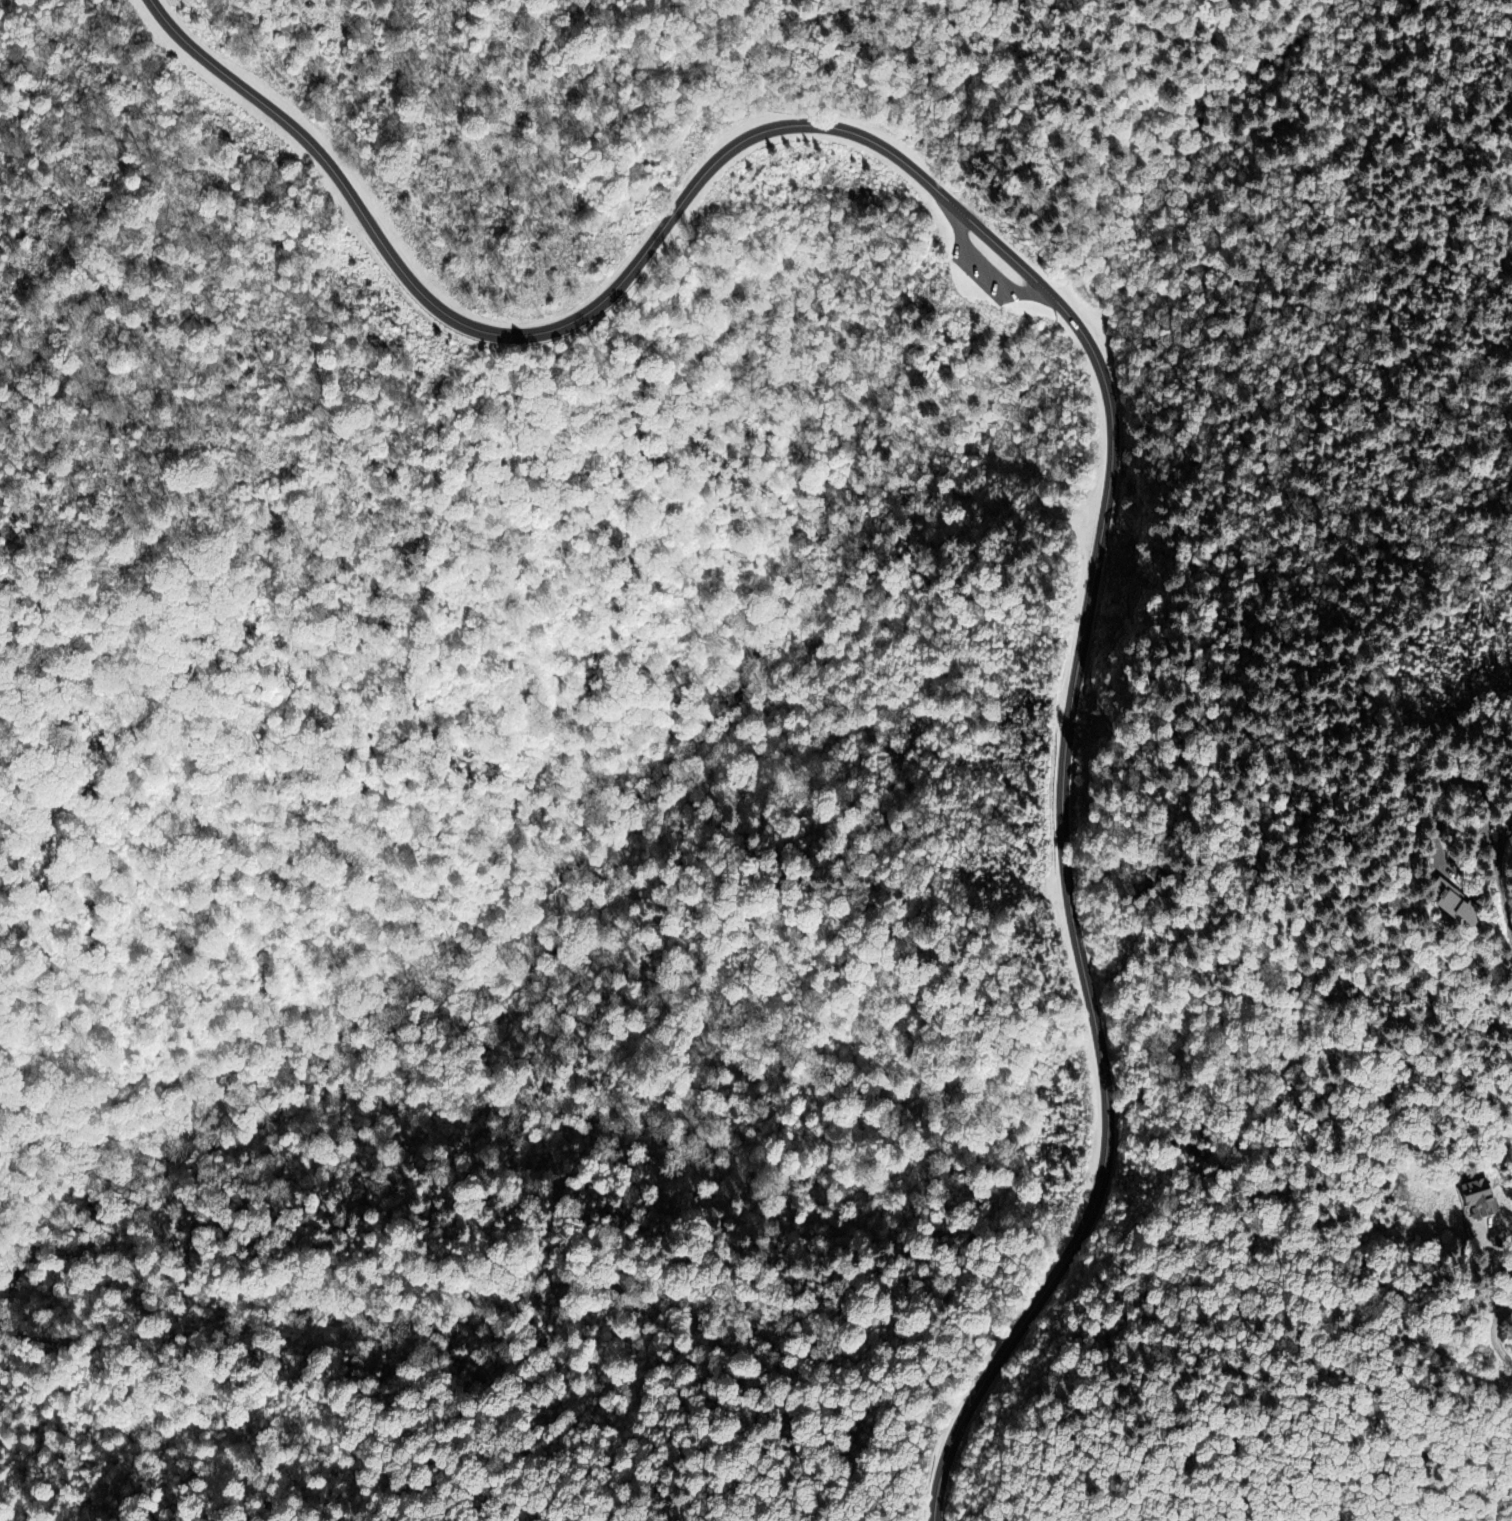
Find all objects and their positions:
road: (1036, 98)
road: (582, 99)
road: (987, 267)
parking lot: (985, 268)
road: (606, 297)
road: (1500, 879)
building: (1460, 911)
road: (1076, 931)
building: (1480, 1200)
road: (1495, 1332)

